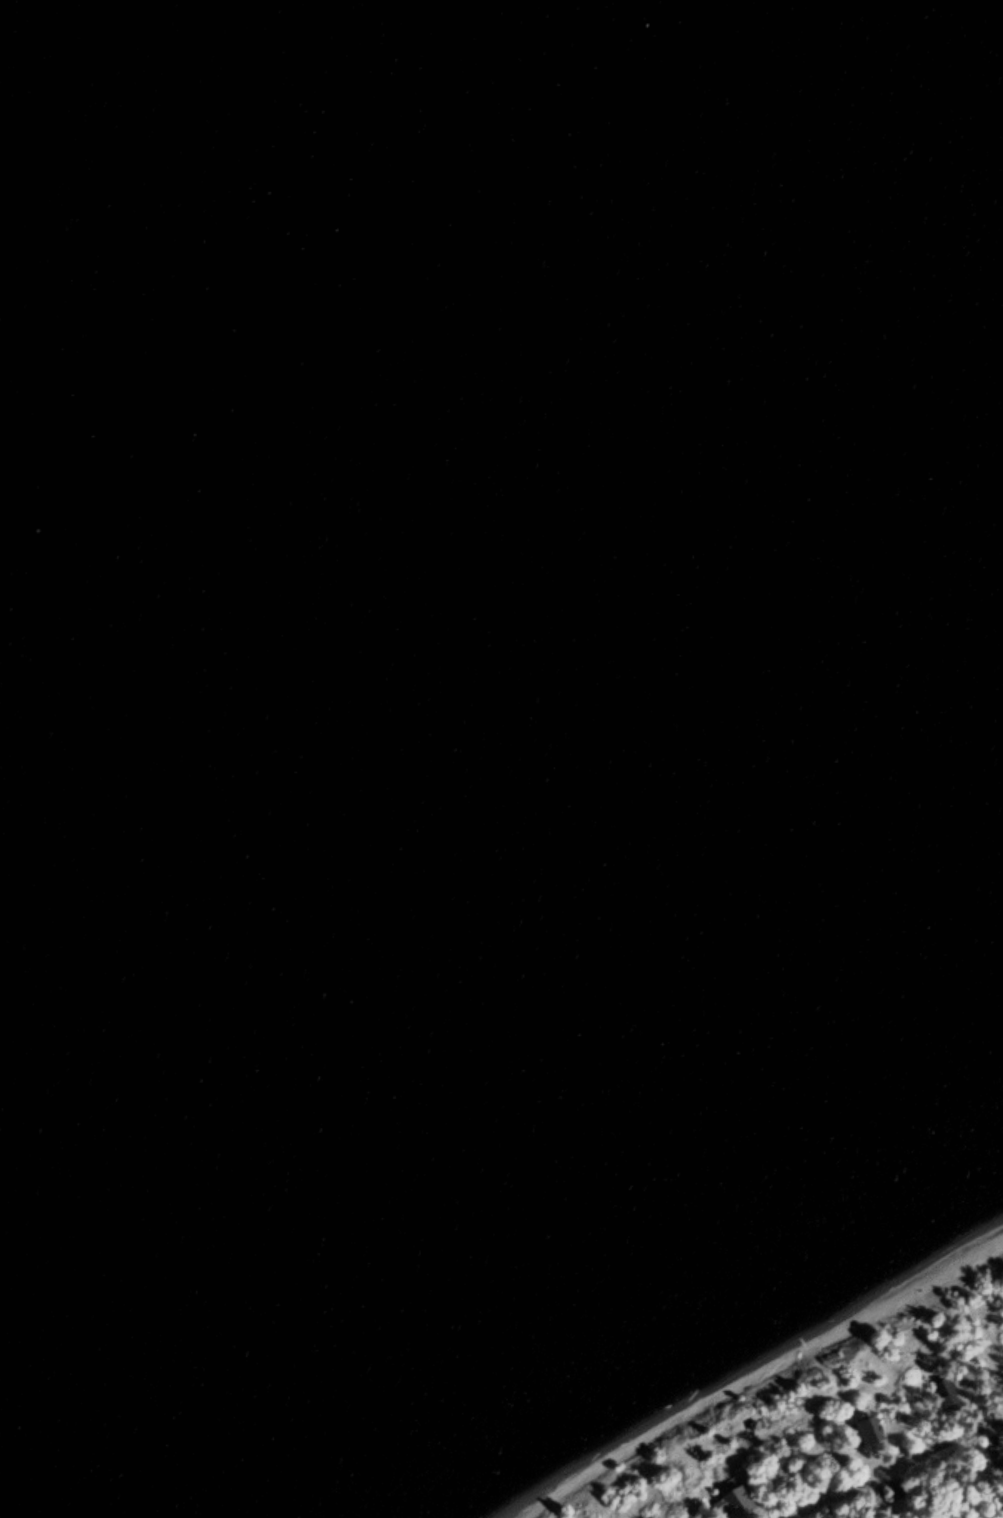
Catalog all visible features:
building: (868, 1431)
road: (887, 1459)

